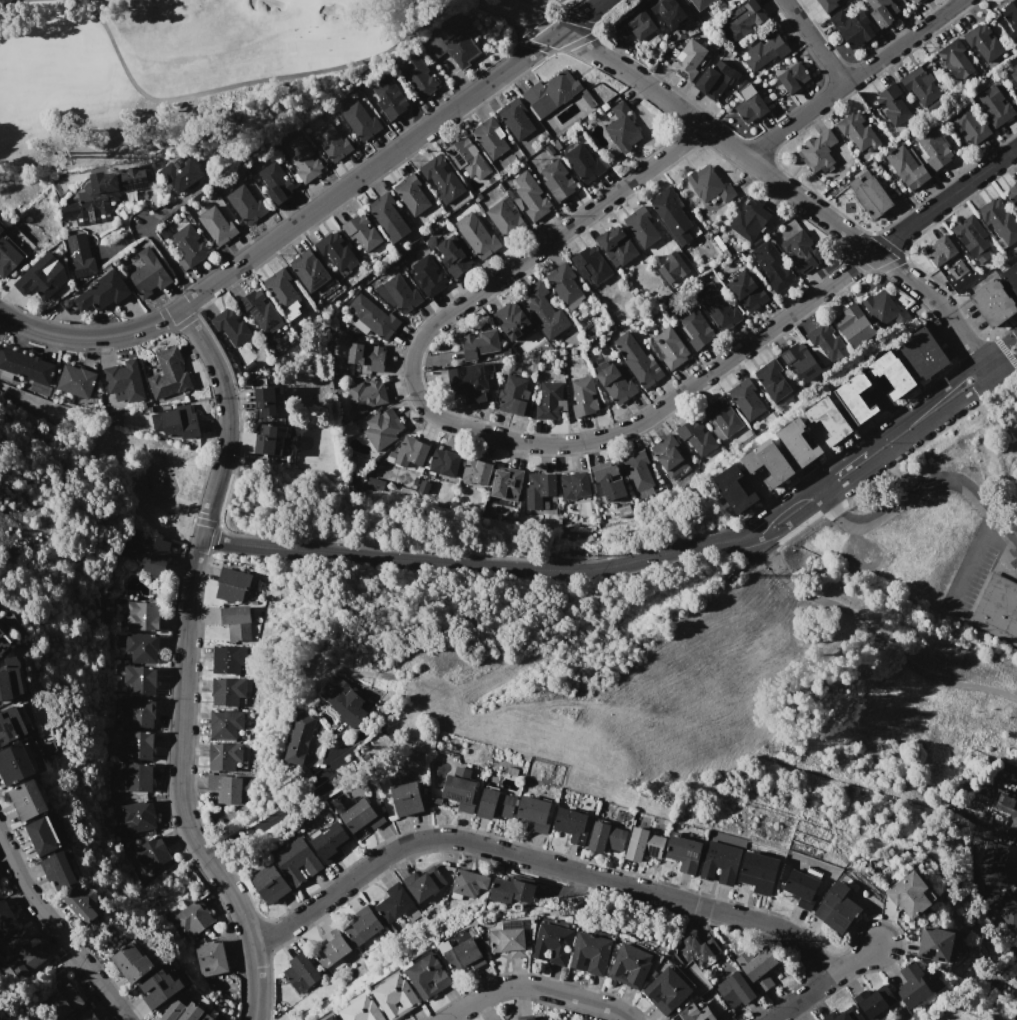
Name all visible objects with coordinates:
building: (558, 0)
building: (912, 1)
building: (700, 3)
building: (827, 4)
building: (884, 11)
building: (666, 12)
building: (1011, 16)
building: (742, 20)
building: (635, 25)
building: (852, 28)
road: (814, 42)
building: (984, 42)
building: (451, 46)
building: (764, 51)
building: (687, 58)
building: (955, 60)
building: (1012, 73)
park: (180, 77)
building: (416, 77)
building: (793, 77)
building: (712, 78)
road: (852, 78)
building: (919, 85)
building: (550, 93)
building: (389, 98)
building: (749, 104)
building: (892, 105)
building: (994, 105)
building: (516, 119)
building: (360, 121)
building: (969, 126)
building: (622, 128)
building: (857, 132)
building: (490, 136)
building: (331, 142)
building: (932, 149)
building: (817, 152)
building: (467, 157)
building: (302, 159)
building: (584, 162)
road: (756, 166)
building: (906, 167)
building: (180, 173)
building: (441, 179)
building: (557, 180)
building: (275, 183)
building: (707, 185)
building: (1012, 193)
building: (105, 194)
building: (411, 194)
building: (528, 195)
building: (869, 196)
road: (944, 198)
building: (245, 205)
building: (1016, 208)
road: (314, 209)
building: (670, 214)
building: (389, 217)
building: (503, 218)
building: (750, 220)
building: (998, 221)
building: (216, 225)
building: (640, 227)
building: (1, 228)
building: (362, 233)
building: (479, 237)
building: (972, 238)
building: (188, 246)
building: (615, 246)
building: (940, 250)
building: (336, 251)
building: (800, 251)
building: (79, 255)
building: (9, 257)
building: (453, 257)
road: (167, 259)
building: (591, 265)
building: (773, 266)
building: (308, 270)
building: (146, 273)
building: (428, 276)
building: (39, 277)
building: (1011, 277)
building: (565, 286)
building: (283, 292)
building: (746, 292)
building: (102, 293)
building: (398, 293)
building: (993, 303)
building: (715, 306)
building: (879, 307)
building: (545, 311)
building: (260, 312)
building: (372, 318)
building: (512, 321)
building: (853, 325)
building: (230, 328)
building: (696, 328)
building: (823, 343)
building: (479, 344)
building: (670, 347)
power tower: (1013, 348)
building: (923, 353)
building: (365, 356)
building: (638, 360)
building: (799, 361)
building: (25, 366)
building: (168, 374)
building: (891, 374)
building: (466, 379)
building: (771, 380)
building: (76, 381)
building: (123, 381)
building: (615, 383)
building: (365, 395)
building: (512, 395)
building: (582, 396)
building: (745, 398)
building: (855, 398)
building: (548, 401)
building: (269, 403)
road: (915, 407)
building: (722, 416)
building: (827, 420)
building: (176, 422)
road: (461, 426)
road: (921, 426)
building: (382, 430)
building: (696, 436)
building: (269, 438)
building: (797, 443)
building: (411, 452)
building: (669, 456)
building: (444, 462)
building: (769, 462)
park: (98, 466)
building: (475, 473)
building: (638, 473)
building: (608, 479)
building: (506, 483)
building: (574, 485)
building: (538, 488)
road: (820, 488)
building: (735, 490)
road: (910, 492)
road: (776, 509)
building: (623, 511)
road: (785, 525)
road: (1006, 533)
building: (149, 552)
road: (469, 563)
road: (973, 564)
power tower: (705, 575)
road: (189, 580)
building: (232, 584)
building: (996, 608)
building: (141, 616)
building: (236, 622)
road: (869, 632)
building: (4, 643)
building: (142, 647)
building: (227, 659)
building: (10, 679)
building: (140, 681)
building: (226, 691)
building: (343, 700)
building: (137, 713)
building: (225, 723)
building: (11, 726)
building: (301, 738)
power tower: (369, 742)
building: (135, 744)
building: (224, 756)
building: (16, 763)
building: (131, 777)
building: (225, 788)
building: (460, 789)
building: (406, 799)
building: (28, 800)
building: (1008, 803)
building: (494, 804)
road: (278, 812)
building: (536, 813)
building: (361, 816)
building: (134, 818)
building: (571, 825)
building: (42, 836)
building: (606, 838)
building: (330, 842)
building: (643, 845)
building: (683, 852)
building: (151, 854)
road: (536, 855)
building: (296, 861)
building: (720, 862)
building: (990, 867)
building: (58, 871)
building: (758, 872)
building: (423, 883)
building: (467, 883)
building: (270, 884)
building: (802, 888)
building: (511, 890)
building: (909, 894)
building: (82, 902)
road: (234, 903)
building: (393, 903)
building: (837, 907)
building: (1003, 909)
building: (6, 918)
building: (192, 918)
building: (362, 925)
road: (57, 931)
building: (508, 941)
building: (553, 943)
building: (935, 944)
building: (331, 948)
building: (693, 949)
building: (23, 953)
building: (591, 953)
building: (465, 955)
building: (211, 957)
building: (133, 961)
building: (629, 966)
building: (757, 967)
building: (300, 973)
building: (427, 976)
road: (824, 983)
road: (255, 984)
building: (912, 985)
road: (536, 988)
building: (161, 989)
building: (735, 990)
building: (667, 991)
building: (395, 996)
building: (64, 1001)
building: (870, 1005)
building: (362, 1010)
building: (172, 1011)
building: (192, 1012)
building: (694, 1012)
building: (87, 1015)
building: (209, 1017)
building: (526, 1017)
building: (843, 1017)
building: (332, 1018)
building: (499, 1019)

